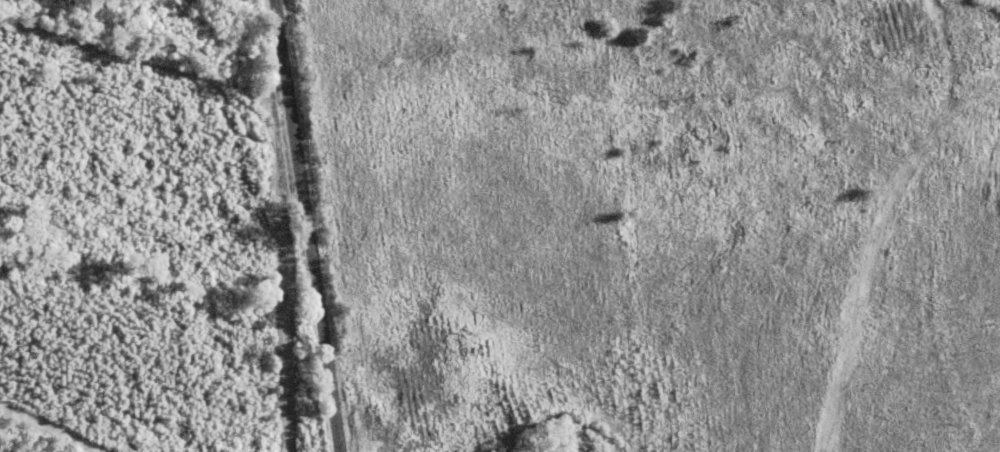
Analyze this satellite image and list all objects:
road: (298, 226)

